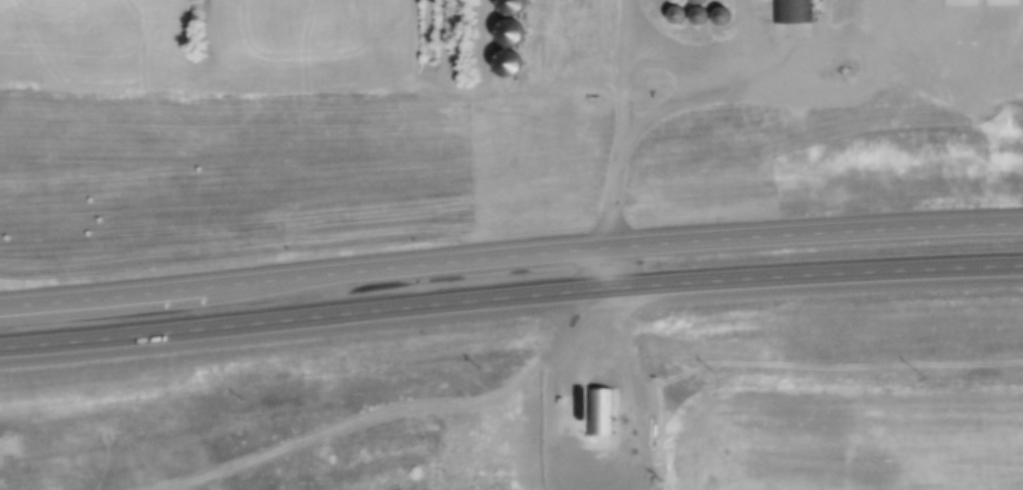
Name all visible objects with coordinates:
building: (700, 0)
silo: (700, 0)
building: (515, 6)
silo: (515, 6)
building: (797, 10)
building: (680, 11)
silo: (680, 11)
building: (702, 12)
silo: (702, 12)
building: (724, 12)
silo: (724, 12)
building: (514, 32)
silo: (514, 32)
building: (512, 63)
silo: (512, 63)
road: (626, 75)
road: (776, 100)
road: (610, 200)
road: (511, 259)
road: (609, 268)
road: (511, 297)
building: (396, 397)
building: (605, 414)
building: (398, 422)
storage tank: (659, 427)
road: (597, 473)

